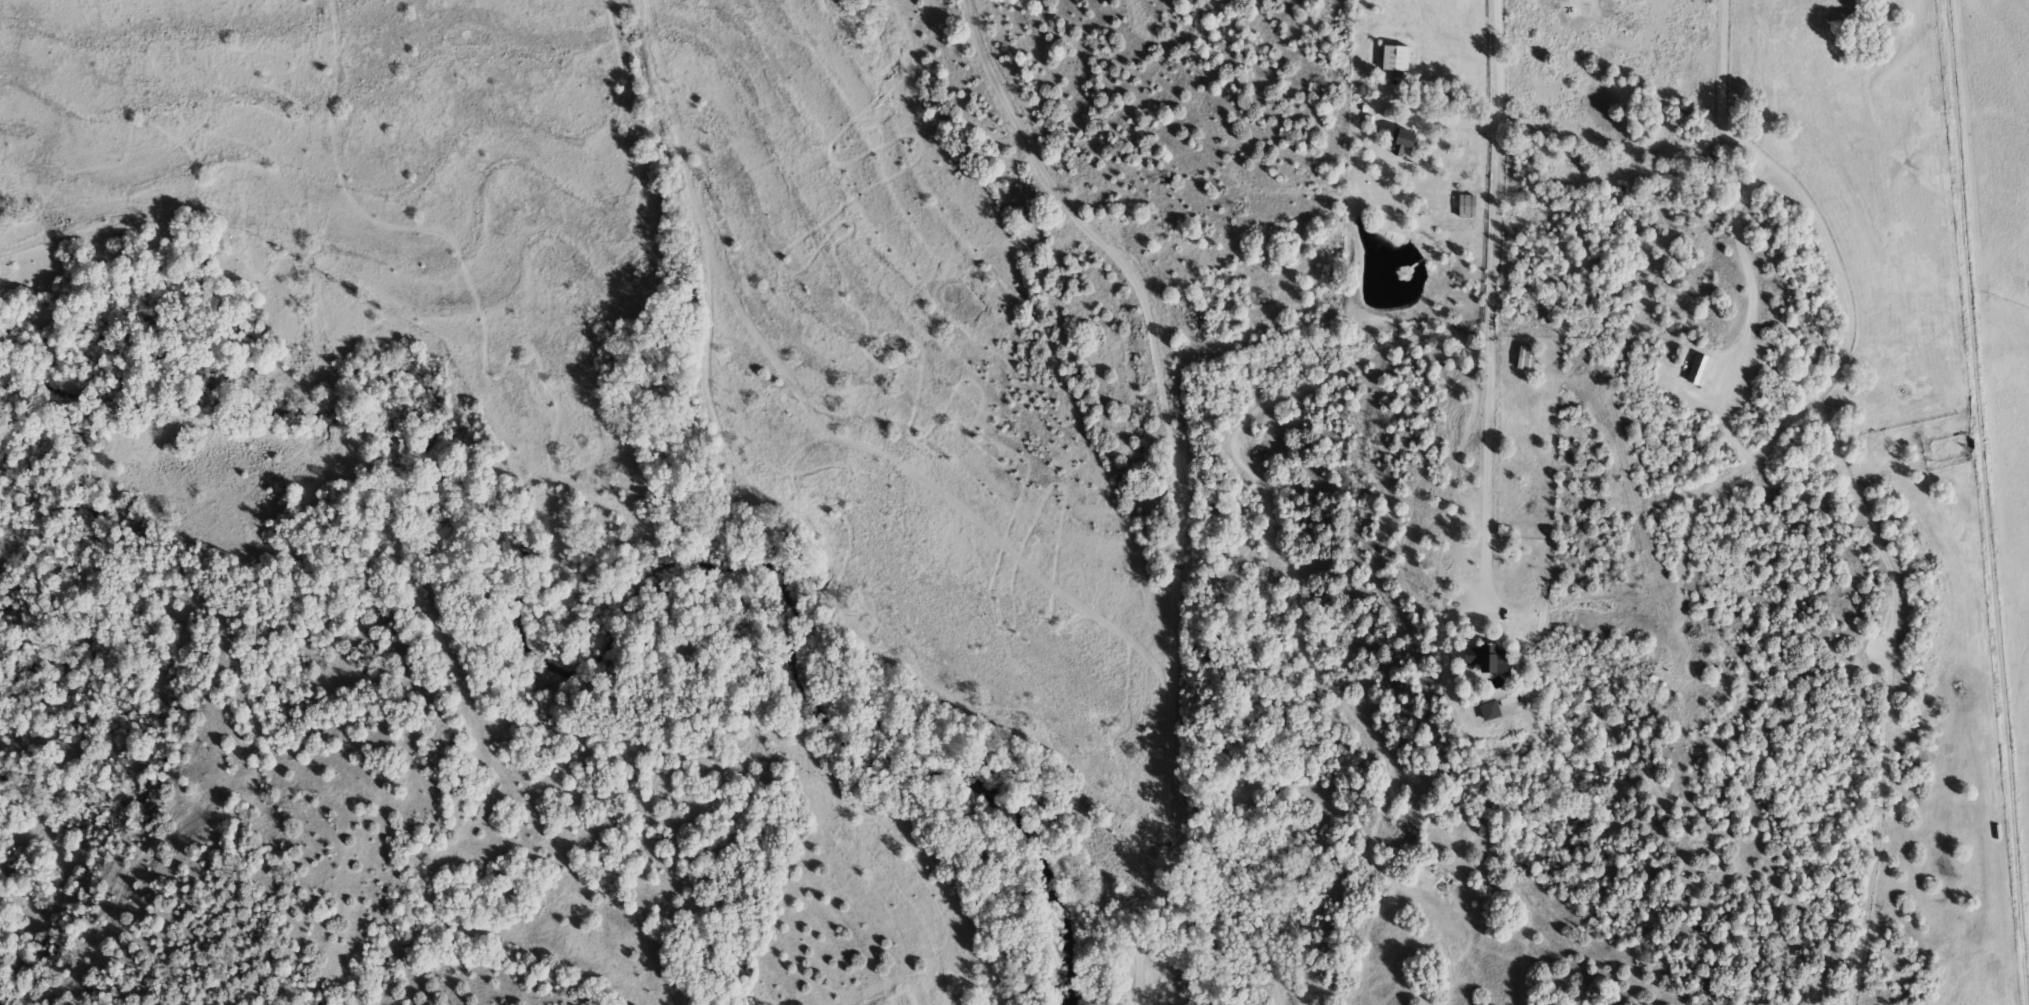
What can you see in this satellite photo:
building: (1393, 58)
road: (1436, 119)
road: (1750, 182)
road: (1491, 286)
building: (1524, 358)
building: (1697, 370)
road: (1177, 476)
road: (1984, 502)
road: (1480, 610)
road: (1439, 640)
building: (1485, 658)
building: (1487, 712)

